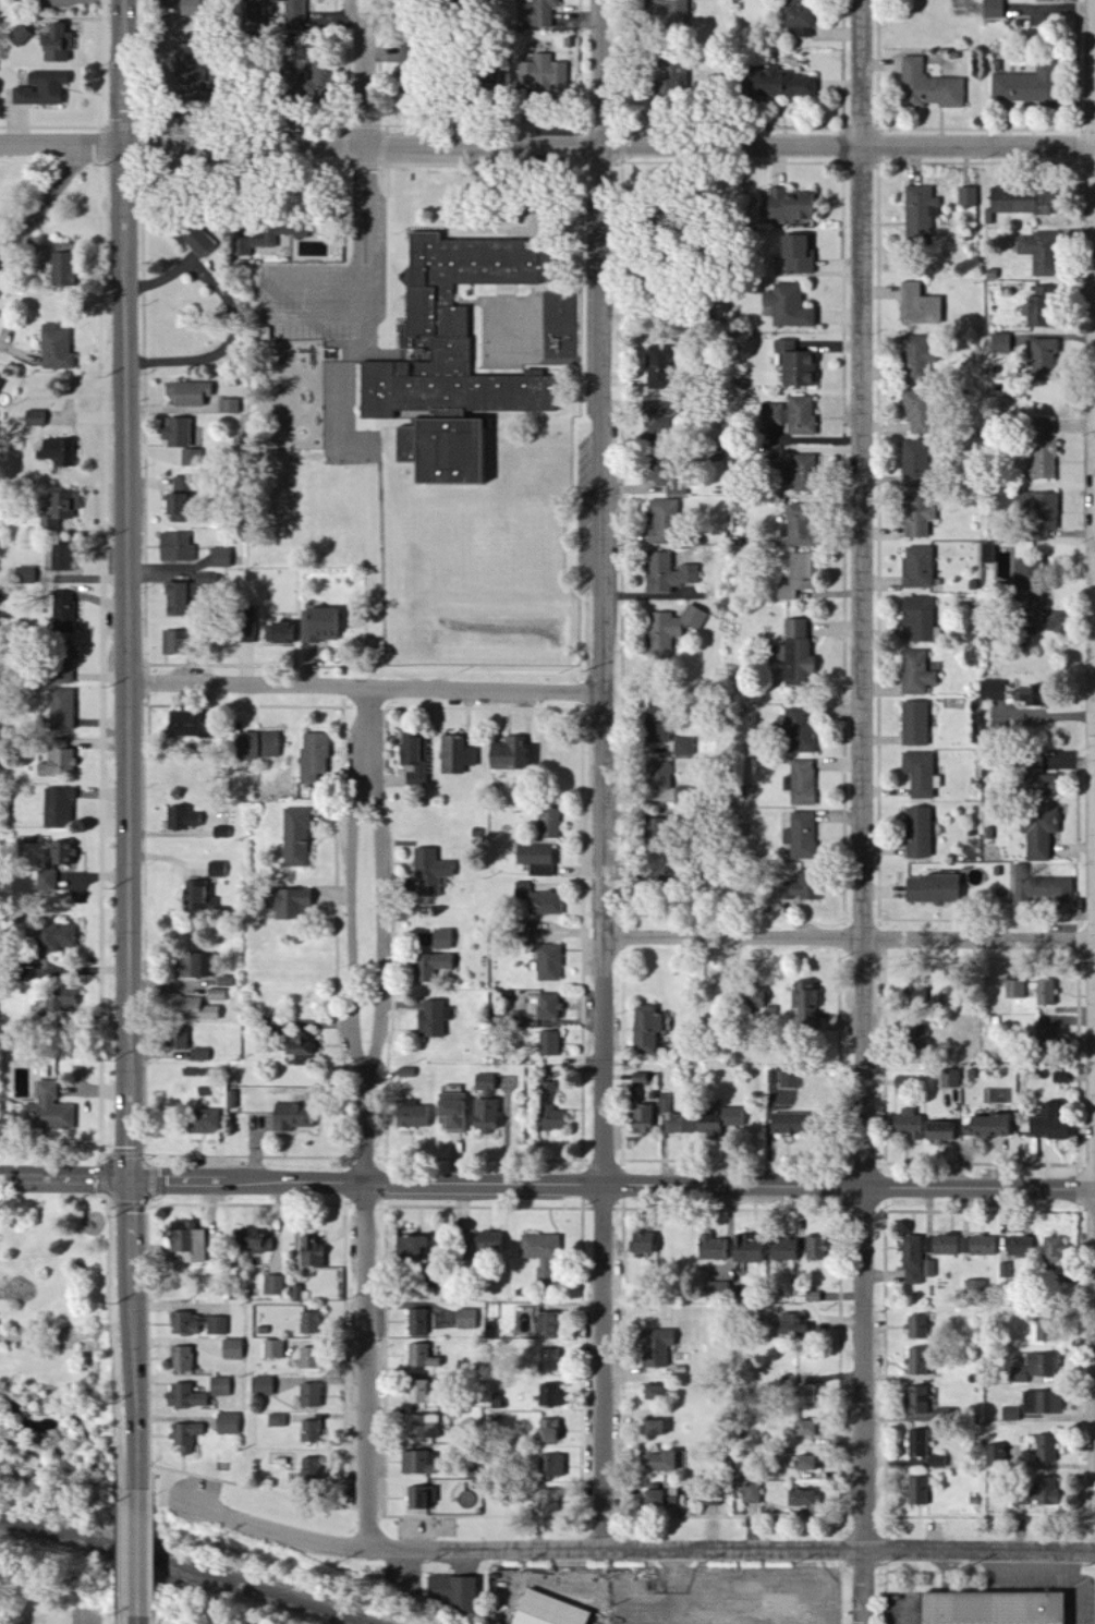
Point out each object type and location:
building: (993, 10)
building: (294, 11)
building: (677, 13)
building: (539, 14)
road: (353, 15)
road: (372, 15)
road: (125, 16)
building: (796, 22)
building: (20, 36)
building: (58, 44)
building: (545, 72)
building: (672, 80)
building: (324, 83)
building: (782, 84)
road: (363, 87)
building: (1027, 87)
building: (929, 88)
building: (42, 89)
road: (126, 144)
road: (547, 145)
building: (969, 198)
building: (1022, 202)
road: (44, 206)
building: (789, 207)
road: (355, 213)
road: (374, 214)
building: (920, 214)
building: (271, 233)
building: (195, 240)
building: (795, 254)
building: (1042, 254)
building: (59, 268)
building: (918, 305)
building: (788, 306)
building: (1041, 307)
road: (270, 313)
road: (236, 315)
building: (463, 330)
building: (1000, 344)
building: (56, 348)
building: (1043, 357)
building: (794, 365)
building: (658, 367)
building: (187, 392)
building: (230, 407)
building: (913, 411)
building: (801, 416)
building: (658, 417)
building: (36, 419)
building: (1044, 426)
building: (175, 432)
building: (58, 451)
building: (190, 457)
building: (914, 461)
building: (1043, 461)
building: (803, 473)
building: (666, 482)
building: (183, 484)
building: (174, 507)
building: (60, 508)
building: (916, 519)
building: (661, 522)
building: (799, 525)
building: (177, 547)
building: (986, 554)
building: (63, 557)
building: (221, 558)
building: (918, 568)
building: (666, 573)
building: (26, 574)
building: (796, 577)
building: (206, 580)
building: (175, 598)
building: (1033, 609)
building: (63, 613)
building: (918, 618)
building: (245, 626)
building: (320, 626)
building: (669, 630)
building: (278, 632)
building: (172, 642)
building: (796, 652)
road: (131, 662)
building: (61, 664)
building: (916, 674)
road: (366, 688)
building: (994, 691)
building: (1029, 696)
building: (62, 710)
building: (184, 724)
building: (914, 724)
building: (657, 730)
building: (799, 730)
building: (269, 744)
road: (105, 746)
building: (245, 747)
building: (684, 748)
building: (512, 754)
building: (458, 755)
building: (313, 758)
building: (414, 758)
building: (59, 762)
road: (601, 773)
building: (921, 774)
building: (659, 776)
building: (801, 783)
building: (59, 808)
road: (861, 812)
building: (183, 819)
building: (548, 824)
building: (222, 833)
building: (918, 833)
building: (1039, 833)
building: (802, 836)
building: (296, 837)
building: (60, 855)
building: (537, 859)
building: (218, 870)
building: (429, 873)
building: (47, 882)
building: (932, 889)
building: (1042, 889)
building: (802, 892)
building: (197, 897)
building: (539, 900)
building: (291, 904)
road: (849, 936)
building: (56, 937)
building: (440, 940)
building: (548, 964)
building: (194, 966)
building: (429, 967)
building: (1014, 990)
building: (920, 992)
building: (1044, 993)
building: (216, 995)
building: (59, 1001)
building: (756, 1001)
building: (804, 1005)
building: (548, 1008)
building: (188, 1009)
building: (433, 1019)
building: (645, 1029)
building: (1046, 1035)
building: (918, 1038)
building: (178, 1039)
building: (548, 1044)
building: (302, 1049)
building: (199, 1054)
building: (638, 1078)
building: (1059, 1078)
building: (950, 1079)
building: (789, 1080)
building: (484, 1083)
building: (232, 1100)
building: (549, 1110)
building: (46, 1111)
building: (449, 1111)
building: (412, 1116)
building: (485, 1116)
building: (292, 1117)
building: (674, 1118)
road: (369, 1119)
building: (641, 1120)
building: (202, 1122)
building: (718, 1122)
building: (783, 1124)
building: (1047, 1124)
building: (905, 1125)
building: (987, 1126)
building: (939, 1131)
road: (130, 1179)
traffic signals: (130, 1180)
road: (547, 1183)
building: (254, 1240)
building: (187, 1243)
building: (488, 1243)
building: (644, 1243)
building: (940, 1246)
building: (978, 1247)
building: (1019, 1247)
building: (407, 1248)
building: (815, 1248)
building: (782, 1249)
building: (713, 1250)
building: (745, 1251)
building: (311, 1252)
building: (1054, 1252)
building: (542, 1256)
building: (912, 1261)
building: (929, 1269)
building: (275, 1286)
building: (975, 1286)
building: (716, 1289)
building: (812, 1297)
building: (466, 1320)
building: (309, 1323)
building: (417, 1323)
building: (185, 1324)
building: (218, 1325)
building: (545, 1325)
building: (787, 1325)
building: (916, 1328)
building: (656, 1348)
building: (275, 1349)
building: (233, 1350)
building: (308, 1355)
park: (59, 1356)
building: (419, 1357)
building: (181, 1359)
building: (548, 1360)
building: (917, 1362)
building: (1034, 1368)
building: (264, 1385)
building: (220, 1387)
road: (133, 1390)
building: (796, 1391)
building: (417, 1392)
building: (650, 1394)
building: (311, 1396)
building: (549, 1396)
building: (185, 1397)
building: (918, 1399)
building: (1041, 1404)
building: (1010, 1414)
building: (279, 1421)
building: (229, 1425)
building: (423, 1427)
building: (650, 1429)
building: (803, 1429)
building: (311, 1432)
building: (549, 1432)
building: (187, 1435)
building: (916, 1444)
building: (1045, 1449)
building: (994, 1456)
building: (937, 1462)
building: (415, 1463)
building: (657, 1463)
building: (803, 1464)
building: (550, 1467)
building: (312, 1474)
building: (916, 1492)
building: (1039, 1492)
building: (751, 1494)
building: (652, 1495)
building: (799, 1499)
building: (546, 1501)
building: (710, 1502)
road: (636, 1546)
road: (125, 1553)
road: (135, 1553)
railway: (183, 1565)
road: (674, 1585)
road: (1081, 1586)
building: (449, 1591)
building: (989, 1609)
building: (547, 1611)
road: (744, 1612)
road: (124, 1620)
road: (136, 1620)

